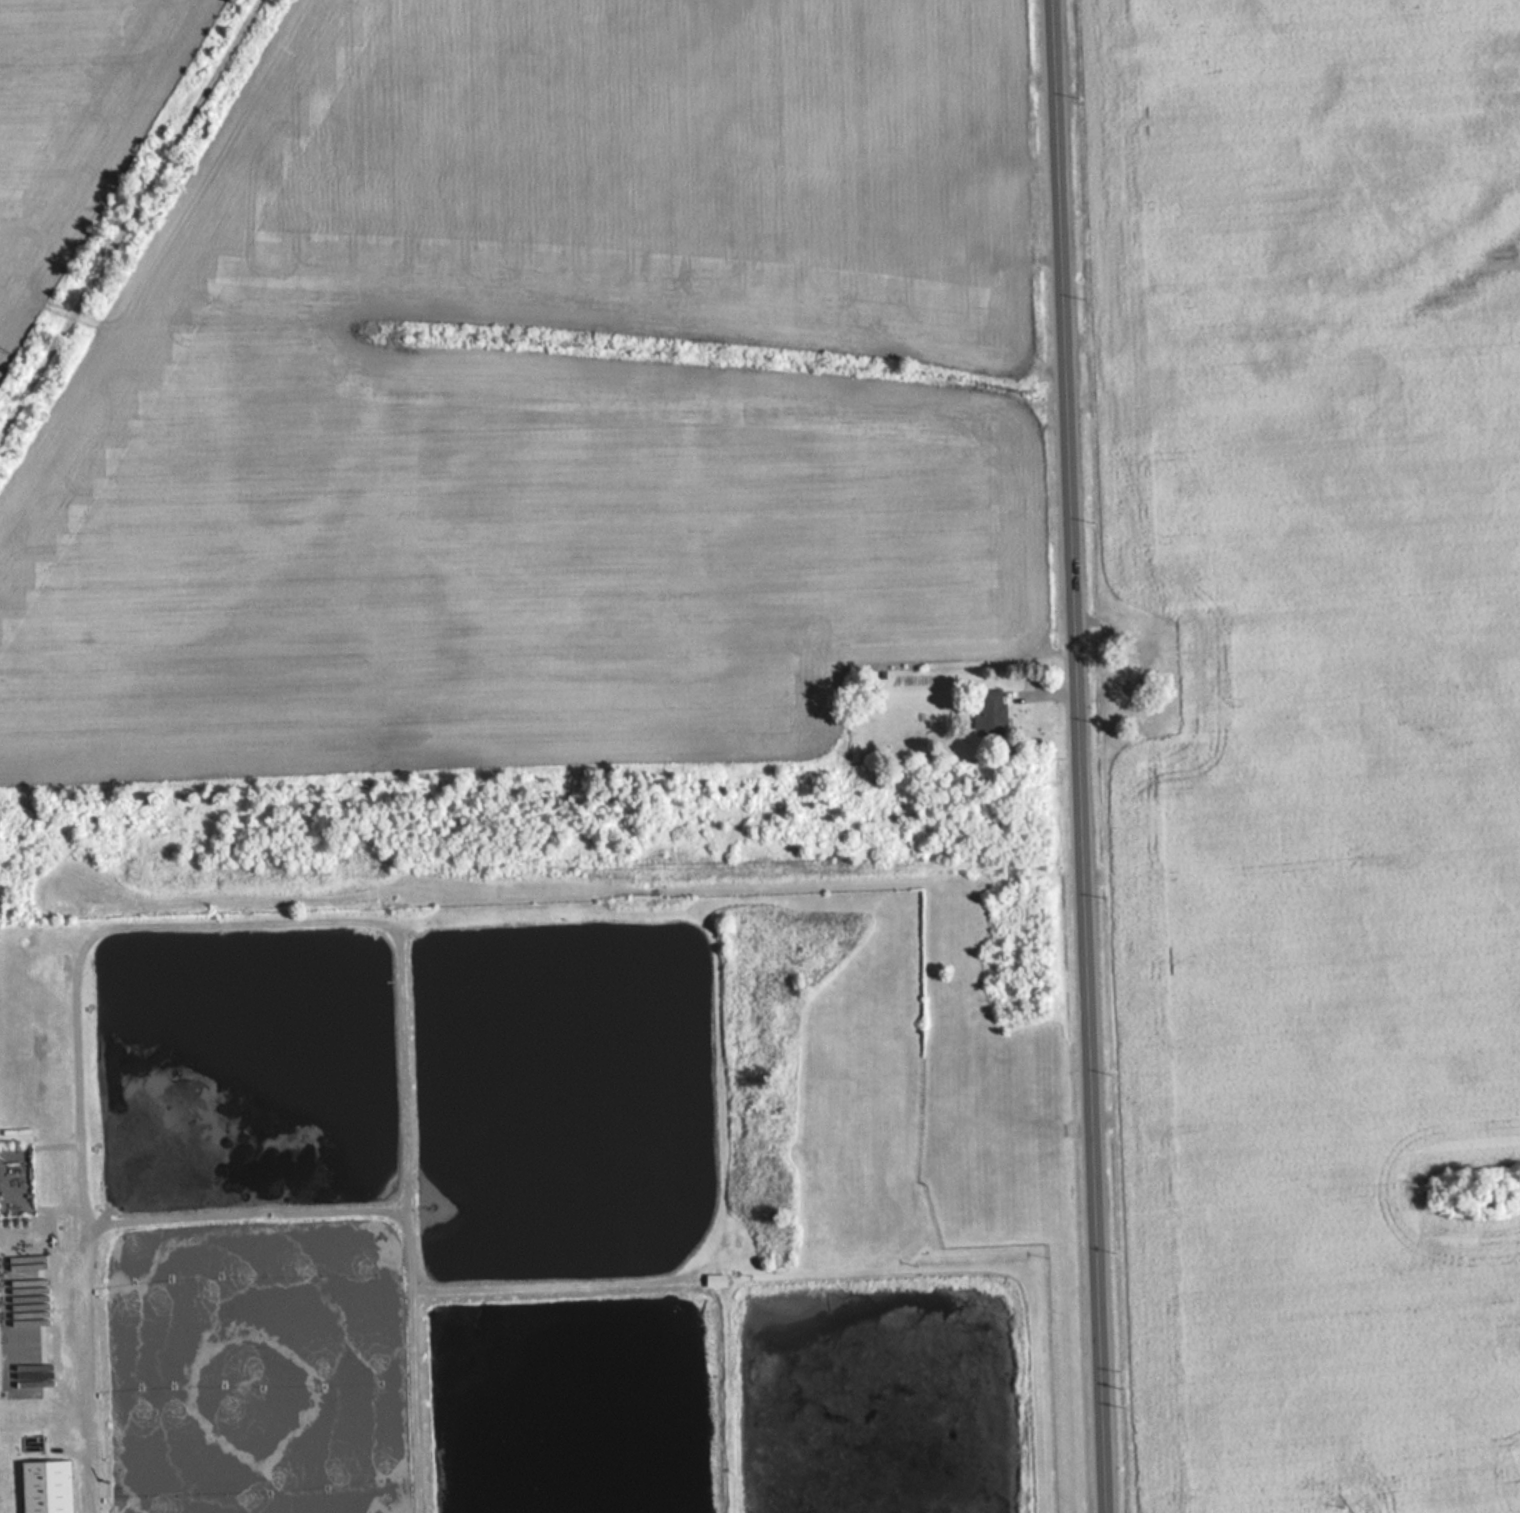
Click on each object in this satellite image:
road: (129, 219)
building: (1128, 692)
building: (991, 710)
building: (851, 732)
road: (1080, 756)
building: (714, 1279)
building: (46, 1486)

